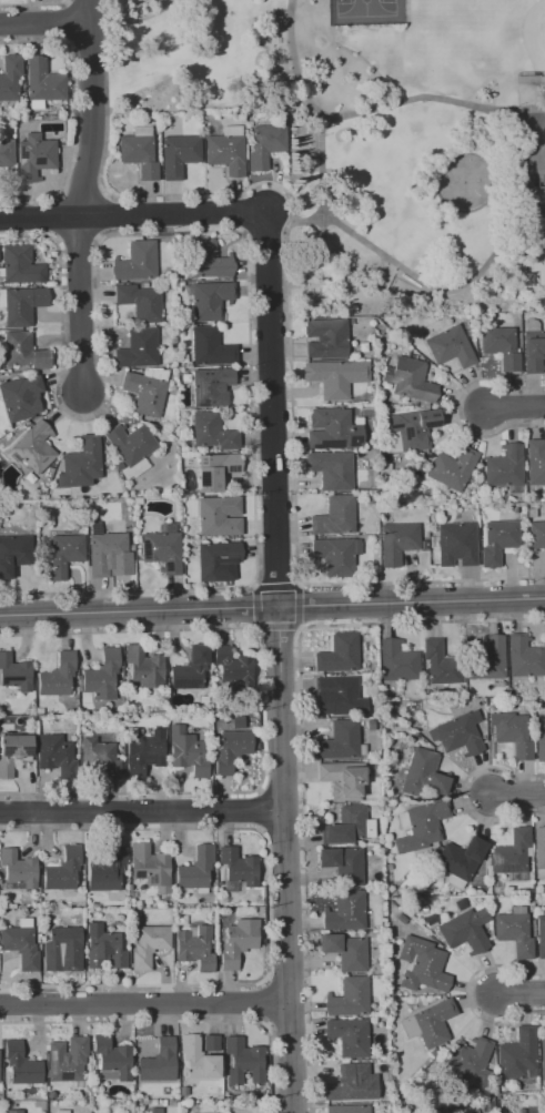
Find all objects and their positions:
park: (363, 6)
road: (46, 27)
park: (535, 36)
road: (256, 42)
road: (295, 65)
building: (10, 77)
building: (43, 81)
road: (531, 81)
road: (434, 98)
road: (93, 109)
road: (524, 109)
building: (211, 130)
park: (365, 138)
building: (265, 144)
building: (226, 150)
building: (139, 151)
building: (6, 153)
building: (178, 154)
building: (34, 156)
building: (534, 173)
road: (436, 181)
park: (465, 181)
road: (499, 182)
road: (133, 215)
building: (208, 260)
building: (137, 262)
building: (21, 265)
road: (406, 271)
building: (209, 300)
building: (140, 302)
building: (22, 304)
road: (85, 307)
building: (325, 338)
building: (448, 346)
building: (501, 346)
building: (210, 347)
building: (138, 348)
building: (24, 351)
building: (533, 351)
building: (335, 377)
building: (408, 380)
building: (211, 386)
building: (144, 393)
building: (20, 397)
road: (516, 412)
building: (412, 427)
building: (332, 429)
building: (212, 432)
building: (130, 443)
building: (34, 447)
building: (535, 462)
building: (81, 463)
building: (119, 466)
building: (452, 467)
building: (504, 467)
building: (332, 469)
building: (215, 471)
building: (219, 516)
building: (335, 516)
building: (536, 534)
building: (497, 540)
building: (396, 542)
building: (456, 544)
building: (424, 545)
building: (162, 550)
building: (105, 552)
building: (13, 553)
building: (64, 554)
building: (336, 555)
building: (216, 559)
road: (272, 606)
building: (339, 654)
building: (524, 657)
building: (486, 659)
building: (396, 660)
road: (279, 662)
building: (441, 664)
building: (233, 666)
building: (144, 667)
building: (190, 669)
building: (14, 672)
building: (102, 675)
building: (58, 676)
building: (340, 692)
building: (457, 732)
building: (512, 733)
building: (539, 739)
building: (339, 741)
building: (231, 750)
building: (186, 751)
building: (12, 752)
building: (55, 755)
building: (143, 755)
building: (102, 757)
building: (421, 775)
building: (343, 779)
road: (517, 793)
road: (142, 807)
building: (349, 824)
building: (420, 826)
building: (538, 848)
building: (512, 852)
building: (461, 858)
building: (343, 864)
building: (239, 866)
building: (151, 867)
building: (18, 869)
building: (63, 869)
building: (195, 869)
building: (107, 870)
building: (345, 911)
building: (401, 918)
building: (431, 920)
building: (464, 928)
building: (514, 933)
building: (541, 937)
building: (238, 941)
building: (20, 945)
building: (60, 945)
building: (148, 945)
building: (194, 947)
building: (103, 949)
building: (345, 951)
building: (421, 964)
road: (519, 994)
building: (349, 998)
road: (144, 1003)
building: (430, 1023)
building: (349, 1036)
building: (211, 1043)
building: (518, 1055)
building: (112, 1056)
building: (542, 1058)
building: (198, 1059)
building: (67, 1060)
building: (157, 1061)
building: (471, 1061)
building: (243, 1062)
building: (21, 1064)
building: (349, 1082)
building: (50, 1094)
building: (347, 1109)
building: (13, 1111)
building: (61, 1111)
building: (472, 1111)
building: (485, 1112)

